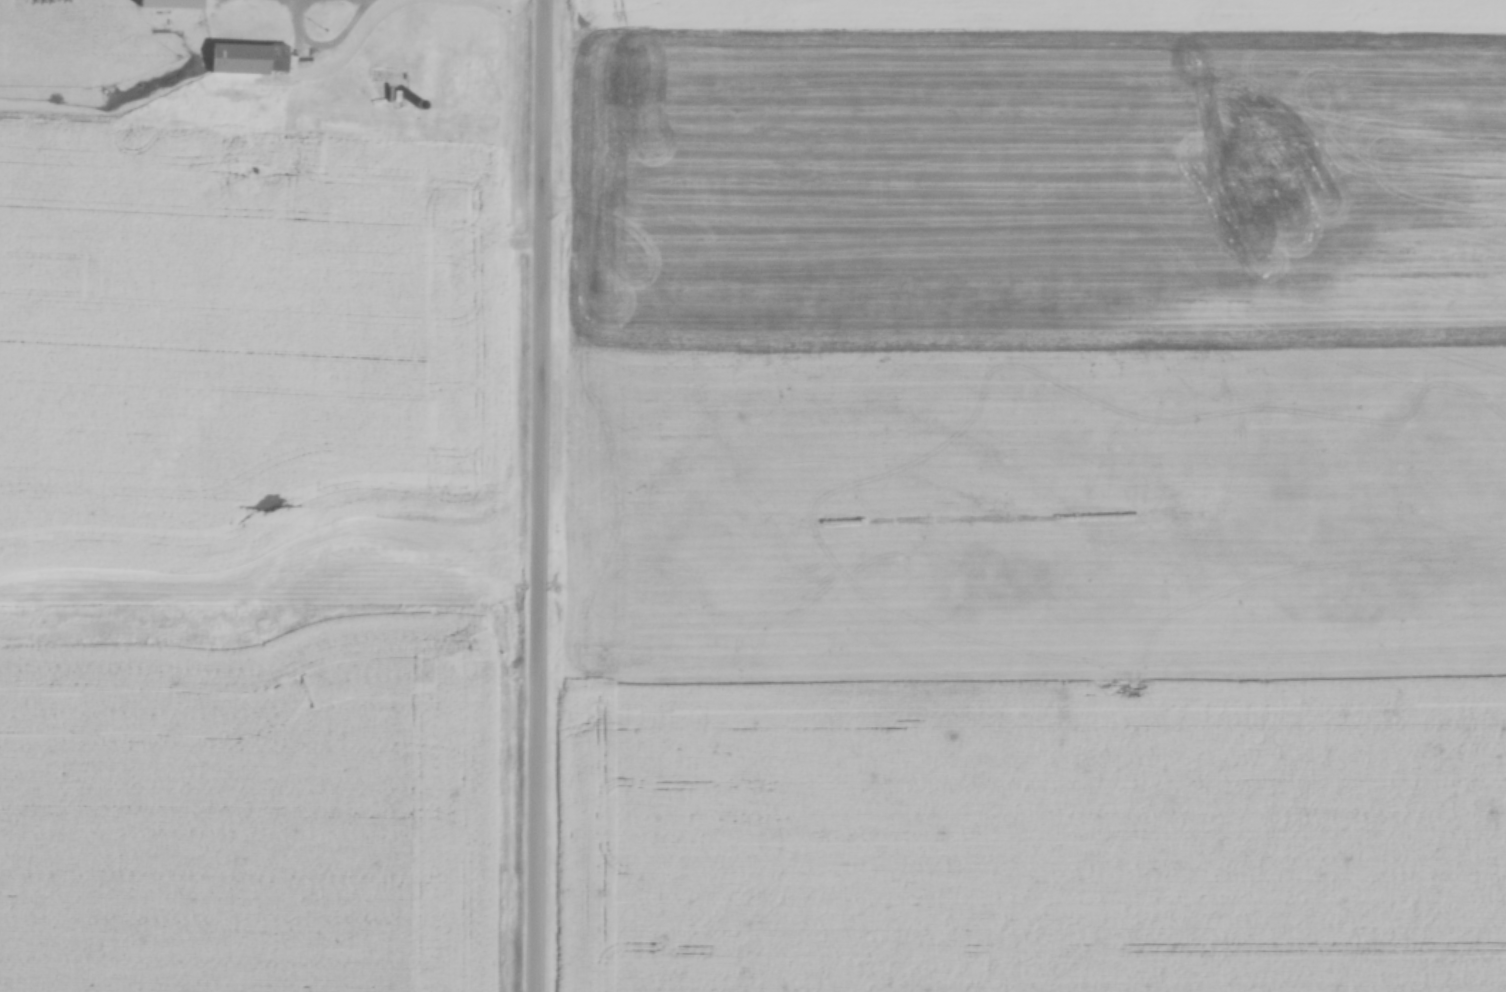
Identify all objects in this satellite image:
building: (170, 5)
building: (247, 60)
building: (393, 97)
road: (541, 496)

